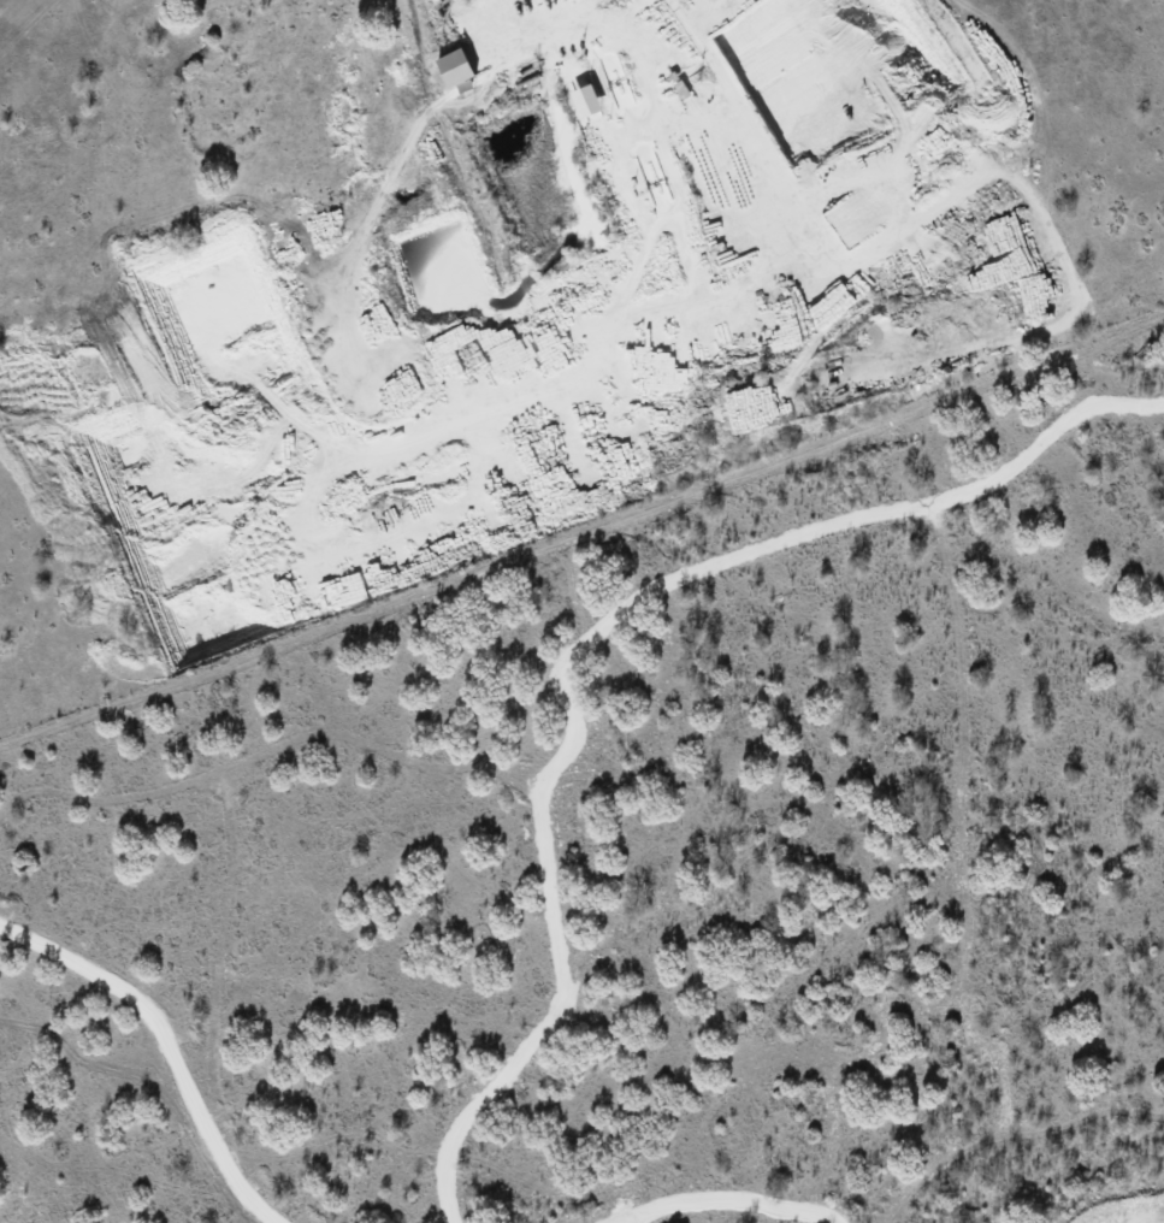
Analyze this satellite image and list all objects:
building: (453, 61)
quarry: (567, 302)
road: (163, 1050)

